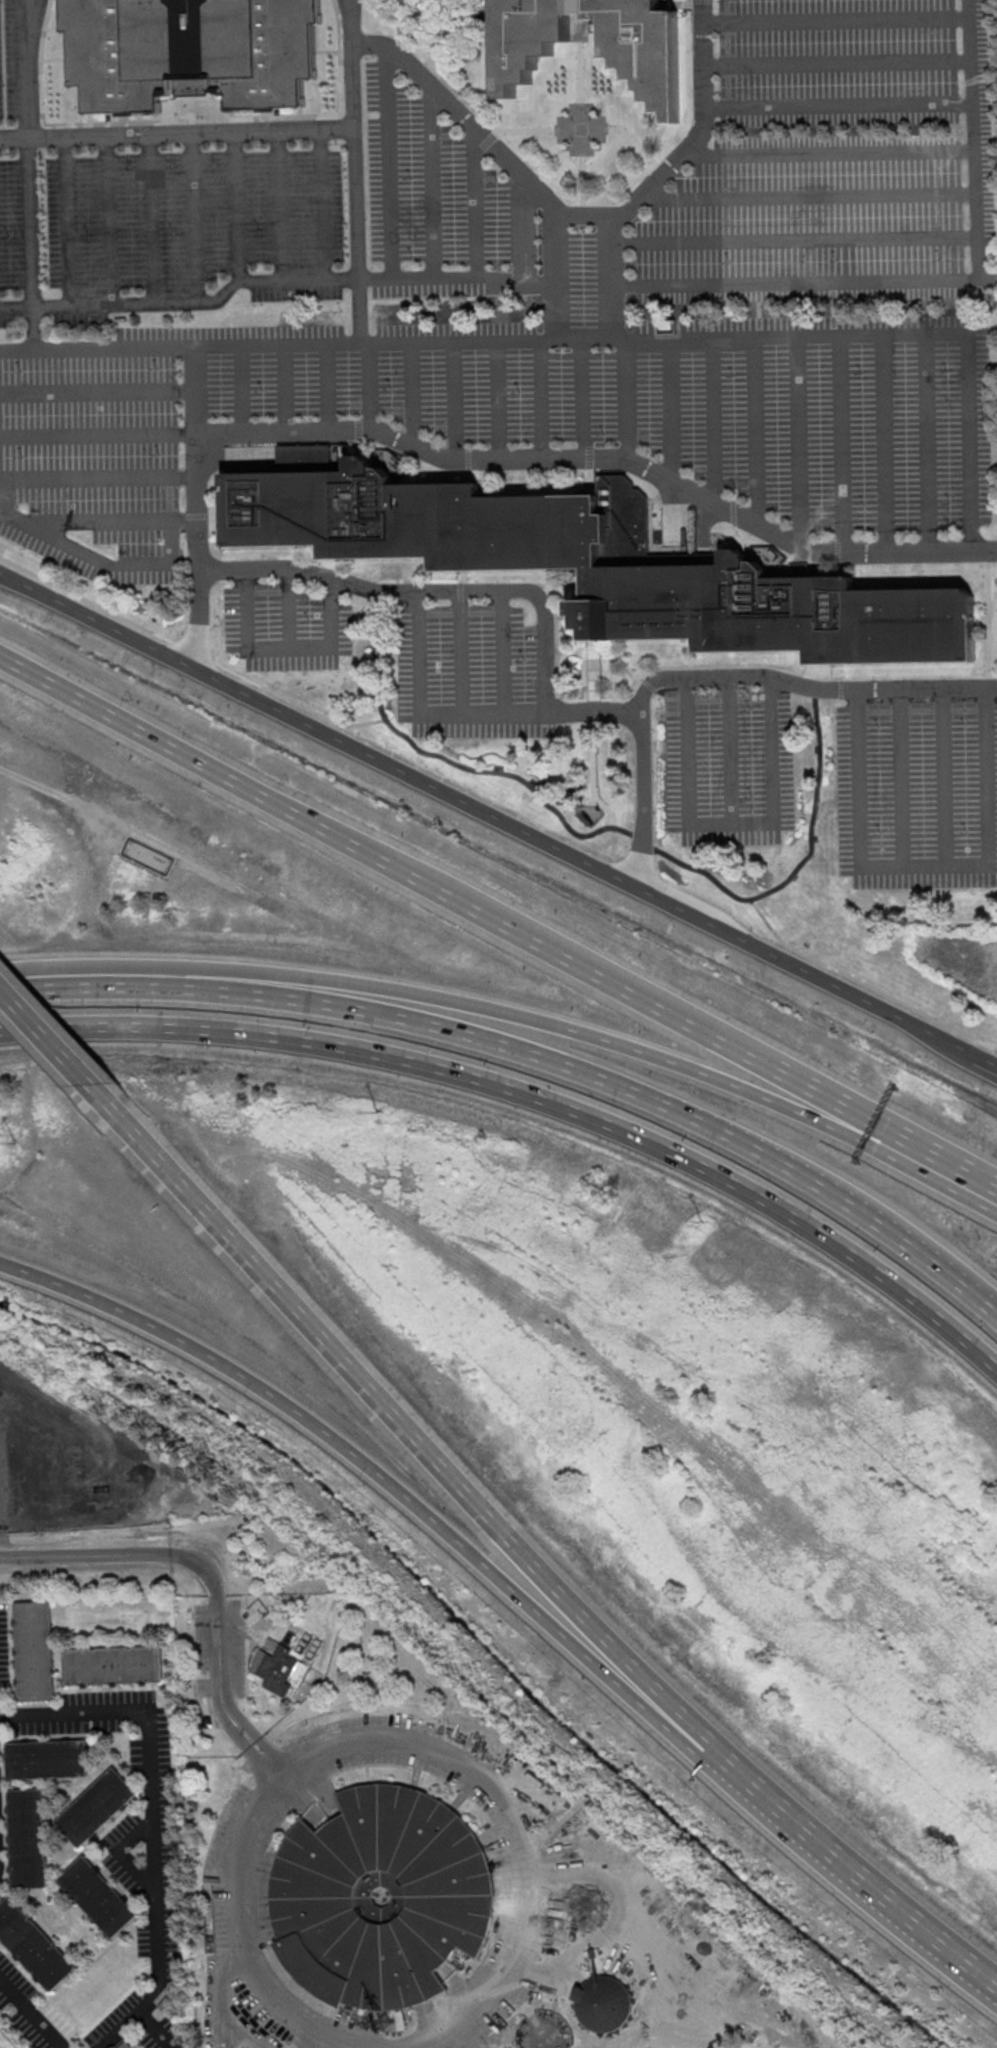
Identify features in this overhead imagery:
road: (837, 18)
building: (191, 50)
road: (838, 61)
building: (647, 62)
road: (354, 64)
road: (838, 105)
road: (177, 134)
road: (975, 141)
road: (581, 145)
road: (685, 152)
road: (829, 152)
parking lot: (832, 159)
road: (506, 161)
road: (391, 162)
road: (30, 173)
road: (433, 182)
road: (813, 195)
road: (322, 204)
road: (279, 205)
road: (477, 205)
road: (236, 207)
road: (151, 218)
road: (191, 218)
road: (107, 220)
road: (68, 221)
road: (519, 228)
road: (357, 236)
road: (799, 239)
road: (488, 280)
road: (990, 282)
road: (583, 284)
road: (800, 284)
road: (182, 302)
road: (584, 313)
road: (795, 334)
road: (585, 339)
road: (329, 344)
road: (17, 348)
road: (627, 372)
road: (326, 386)
road: (371, 387)
road: (283, 388)
road: (243, 389)
road: (97, 390)
road: (195, 390)
road: (411, 394)
road: (585, 396)
road: (452, 400)
road: (542, 400)
road: (498, 401)
road: (665, 408)
parking lot: (817, 418)
road: (715, 421)
road: (756, 430)
road: (98, 434)
road: (971, 439)
road: (798, 440)
road: (883, 440)
road: (929, 440)
road: (842, 441)
road: (588, 456)
road: (524, 460)
road: (99, 476)
road: (591, 480)
road: (661, 493)
road: (211, 511)
road: (96, 521)
road: (986, 549)
road: (988, 554)
road: (89, 557)
building: (598, 563)
road: (785, 563)
road: (855, 565)
road: (474, 591)
road: (88, 601)
road: (288, 609)
road: (564, 615)
road: (982, 617)
road: (989, 617)
road: (200, 622)
road: (555, 638)
road: (590, 645)
road: (283, 651)
road: (460, 651)
road: (198, 652)
road: (505, 653)
road: (602, 653)
road: (599, 675)
road: (990, 681)
road: (815, 687)
road: (991, 687)
road: (300, 705)
road: (592, 711)
road: (423, 714)
road: (116, 717)
road: (734, 749)
road: (593, 763)
road: (516, 774)
road: (857, 776)
road: (900, 777)
road: (947, 777)
road: (644, 791)
building: (593, 814)
road: (730, 822)
road: (498, 825)
road: (643, 840)
road: (989, 841)
road: (805, 858)
road: (505, 924)
road: (329, 979)
road: (44, 982)
road: (865, 985)
road: (46, 1033)
road: (573, 1068)
road: (533, 1096)
road: (787, 1108)
road: (887, 1127)
road: (149, 1143)
road: (897, 1220)
road: (375, 1471)
road: (455, 1477)
road: (120, 1556)
building: (37, 1653)
building: (115, 1667)
building: (281, 1671)
building: (48, 1760)
building: (96, 1809)
road: (156, 1816)
building: (29, 1839)
road: (850, 1869)
building: (321, 1899)
building: (101, 1902)
road: (518, 1913)
building: (33, 1950)
building: (602, 2002)
road: (33, 2012)
building: (543, 2031)
building: (130, 2047)

